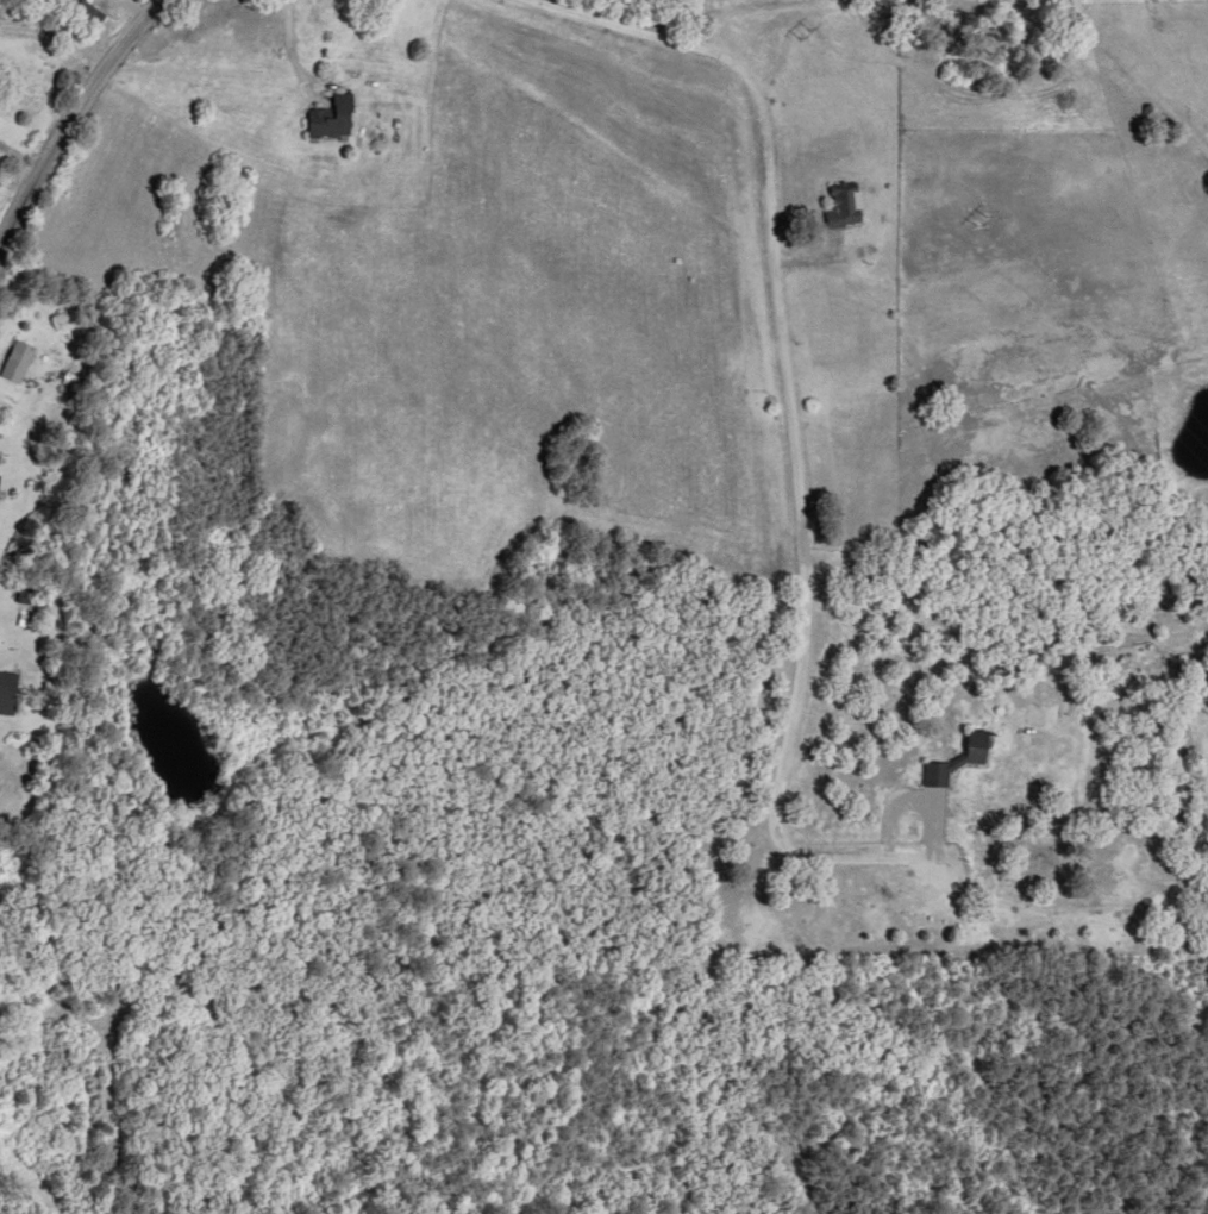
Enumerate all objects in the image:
road: (74, 55)
building: (333, 117)
road: (96, 146)
building: (846, 205)
road: (534, 351)
building: (20, 361)
building: (0, 477)
building: (10, 693)

